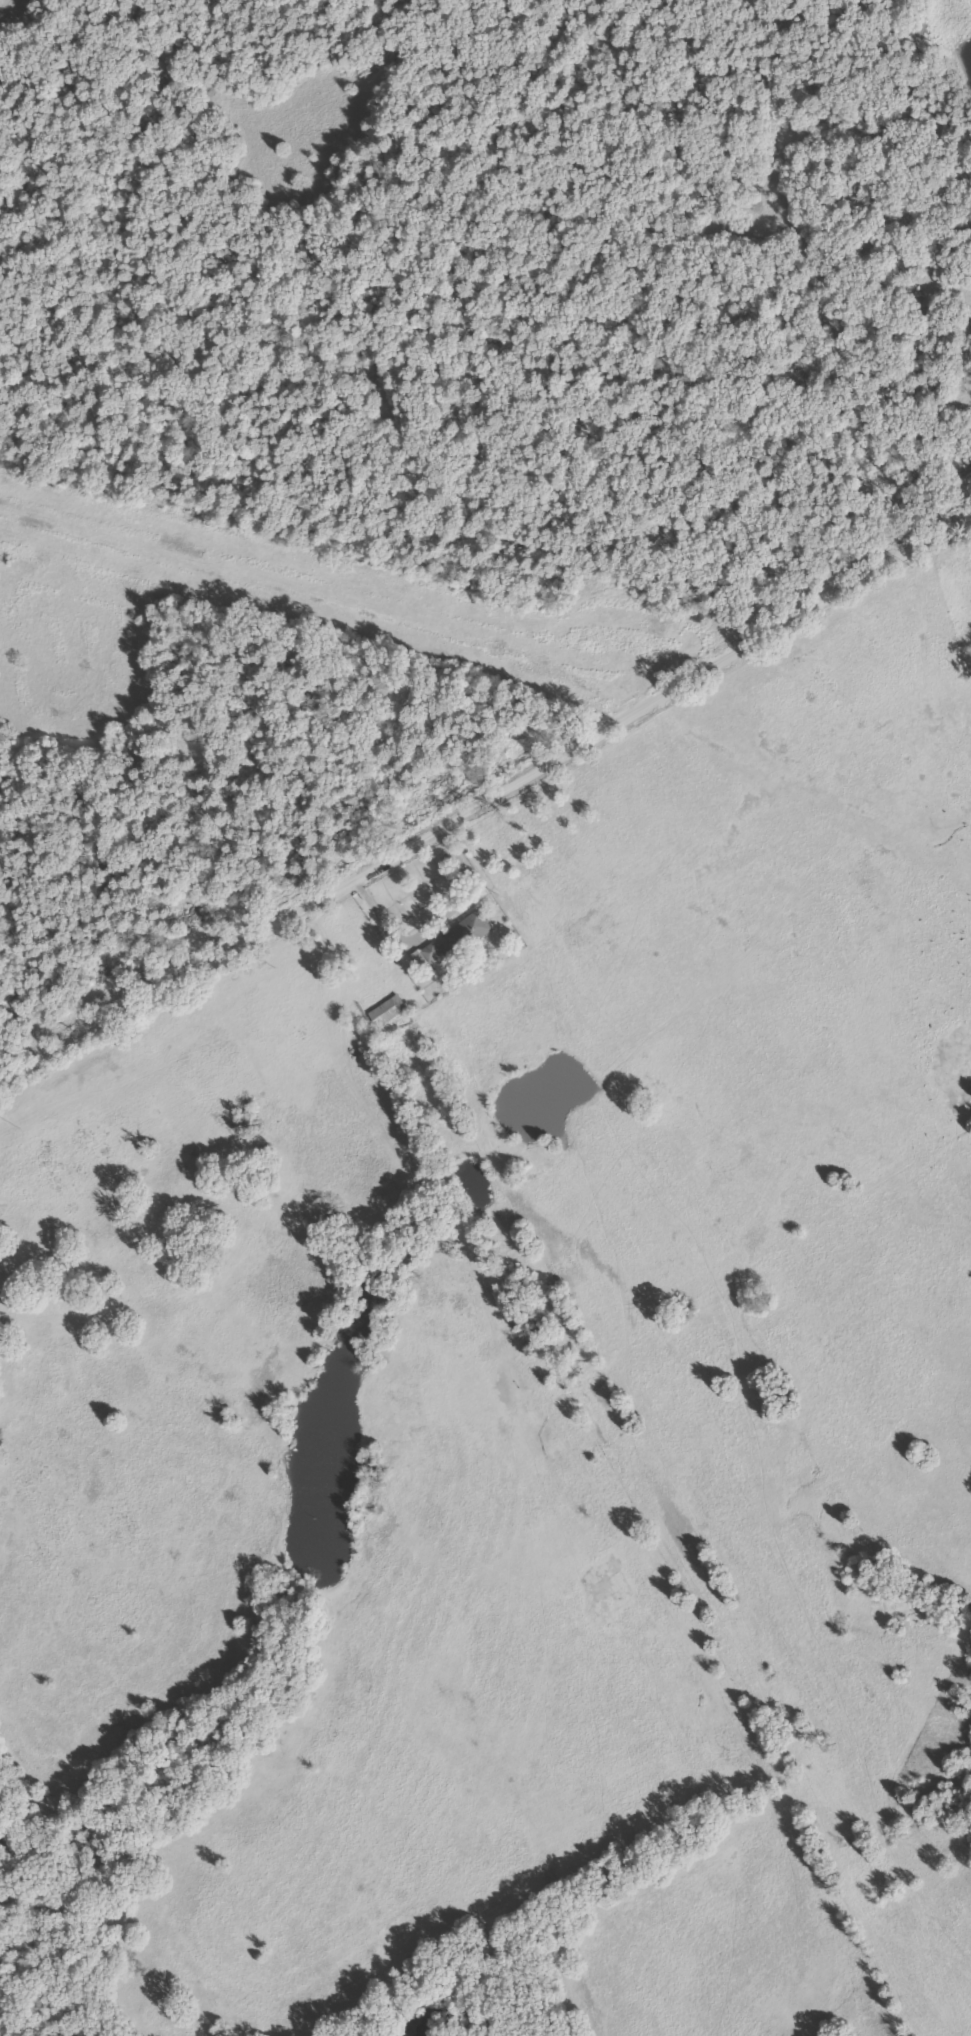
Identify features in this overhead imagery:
road: (484, 792)
road: (434, 915)
building: (456, 938)
building: (387, 1012)

